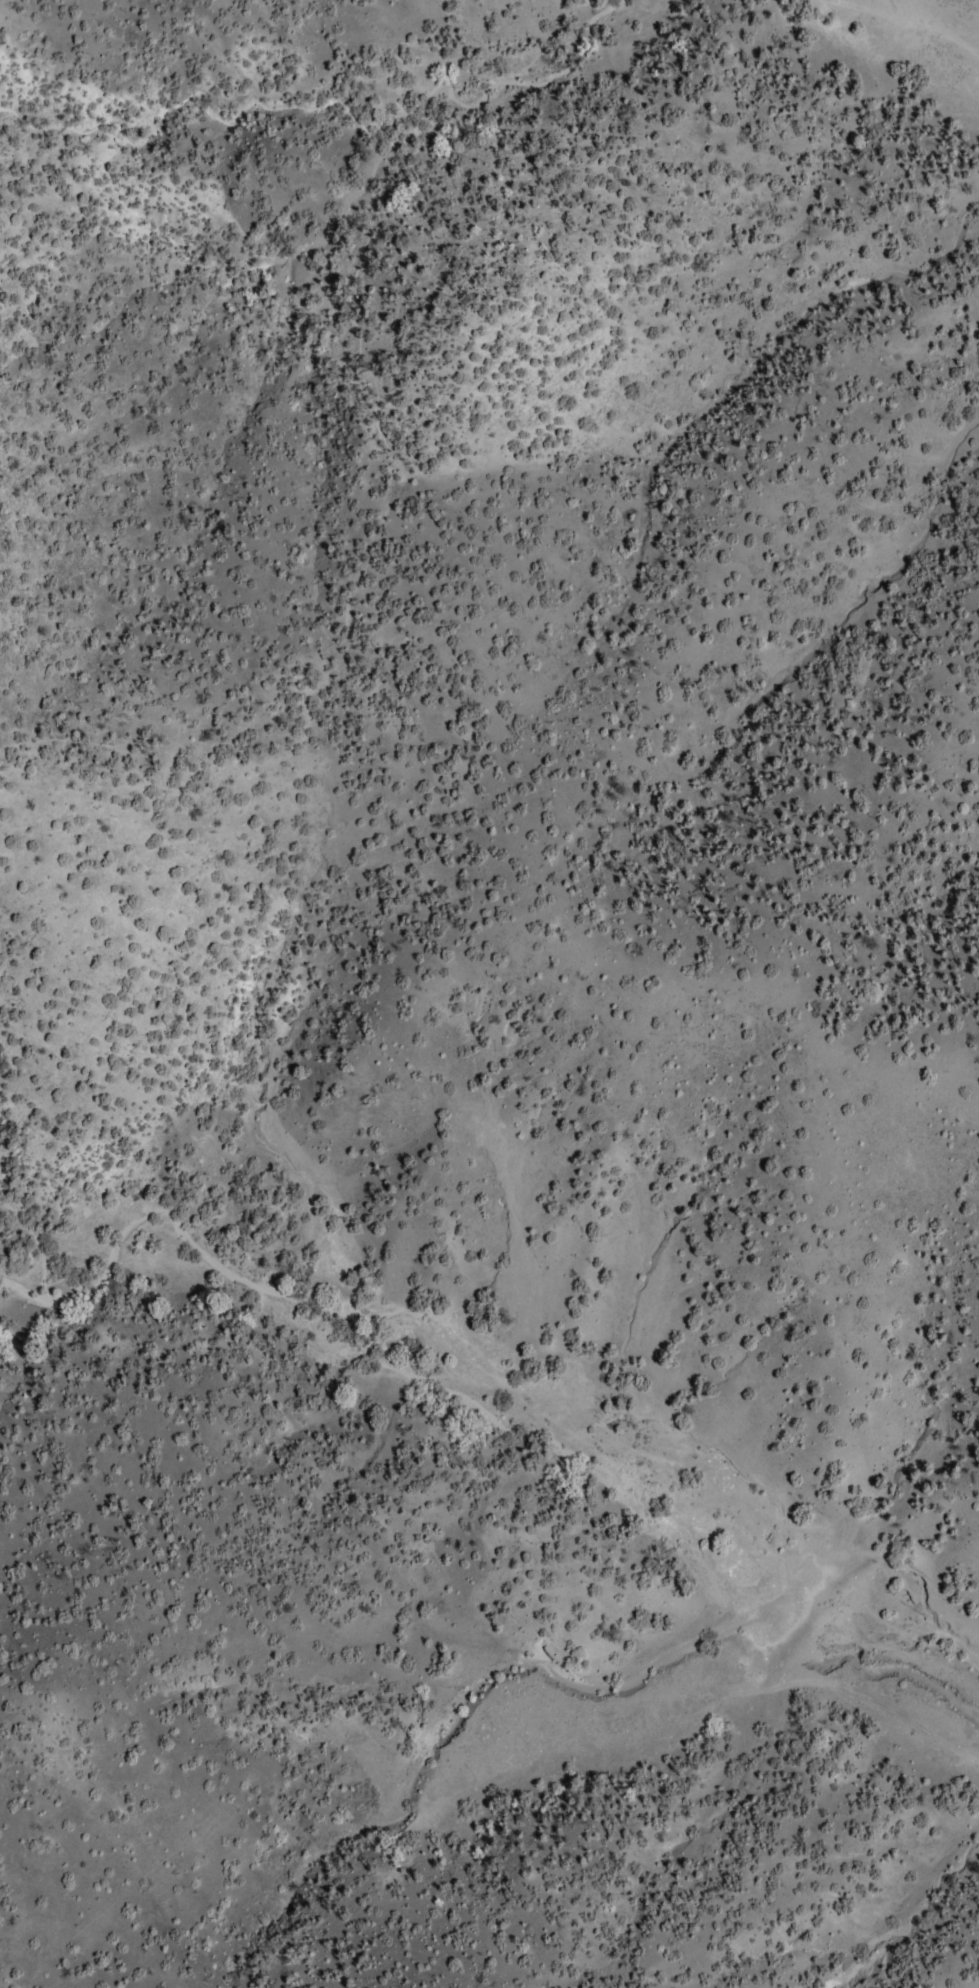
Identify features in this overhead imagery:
road: (923, 26)
road: (833, 1687)

